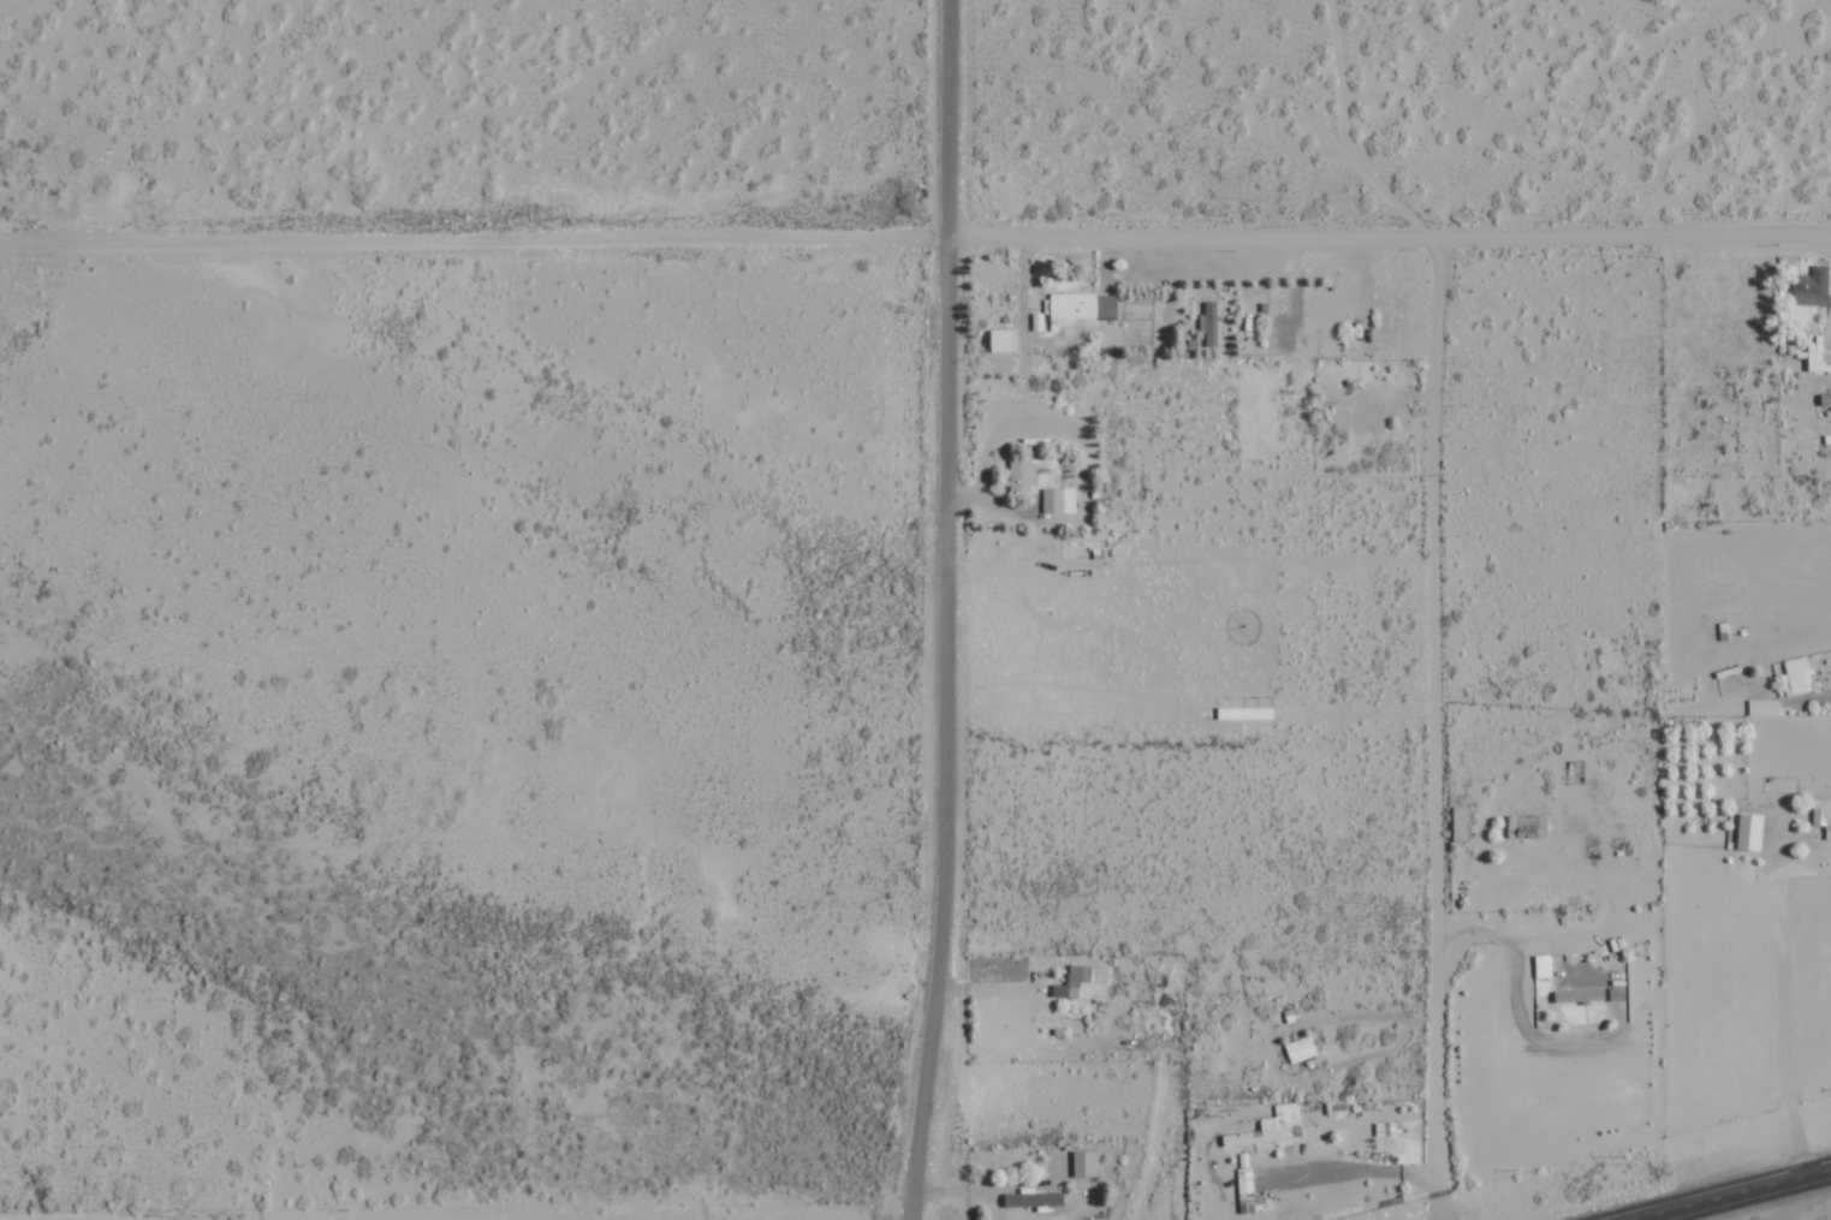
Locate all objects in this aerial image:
road: (915, 239)
building: (1083, 308)
building: (1003, 340)
building: (1819, 356)
building: (1826, 398)
building: (1023, 476)
building: (1060, 500)
road: (938, 609)
building: (1797, 677)
road: (1435, 726)
building: (1823, 815)
building: (1462, 823)
building: (1750, 832)
building: (1545, 966)
building: (1089, 980)
building: (1302, 1049)
building: (1268, 1126)
building: (1250, 1194)
road: (1729, 1194)
building: (1035, 1200)

